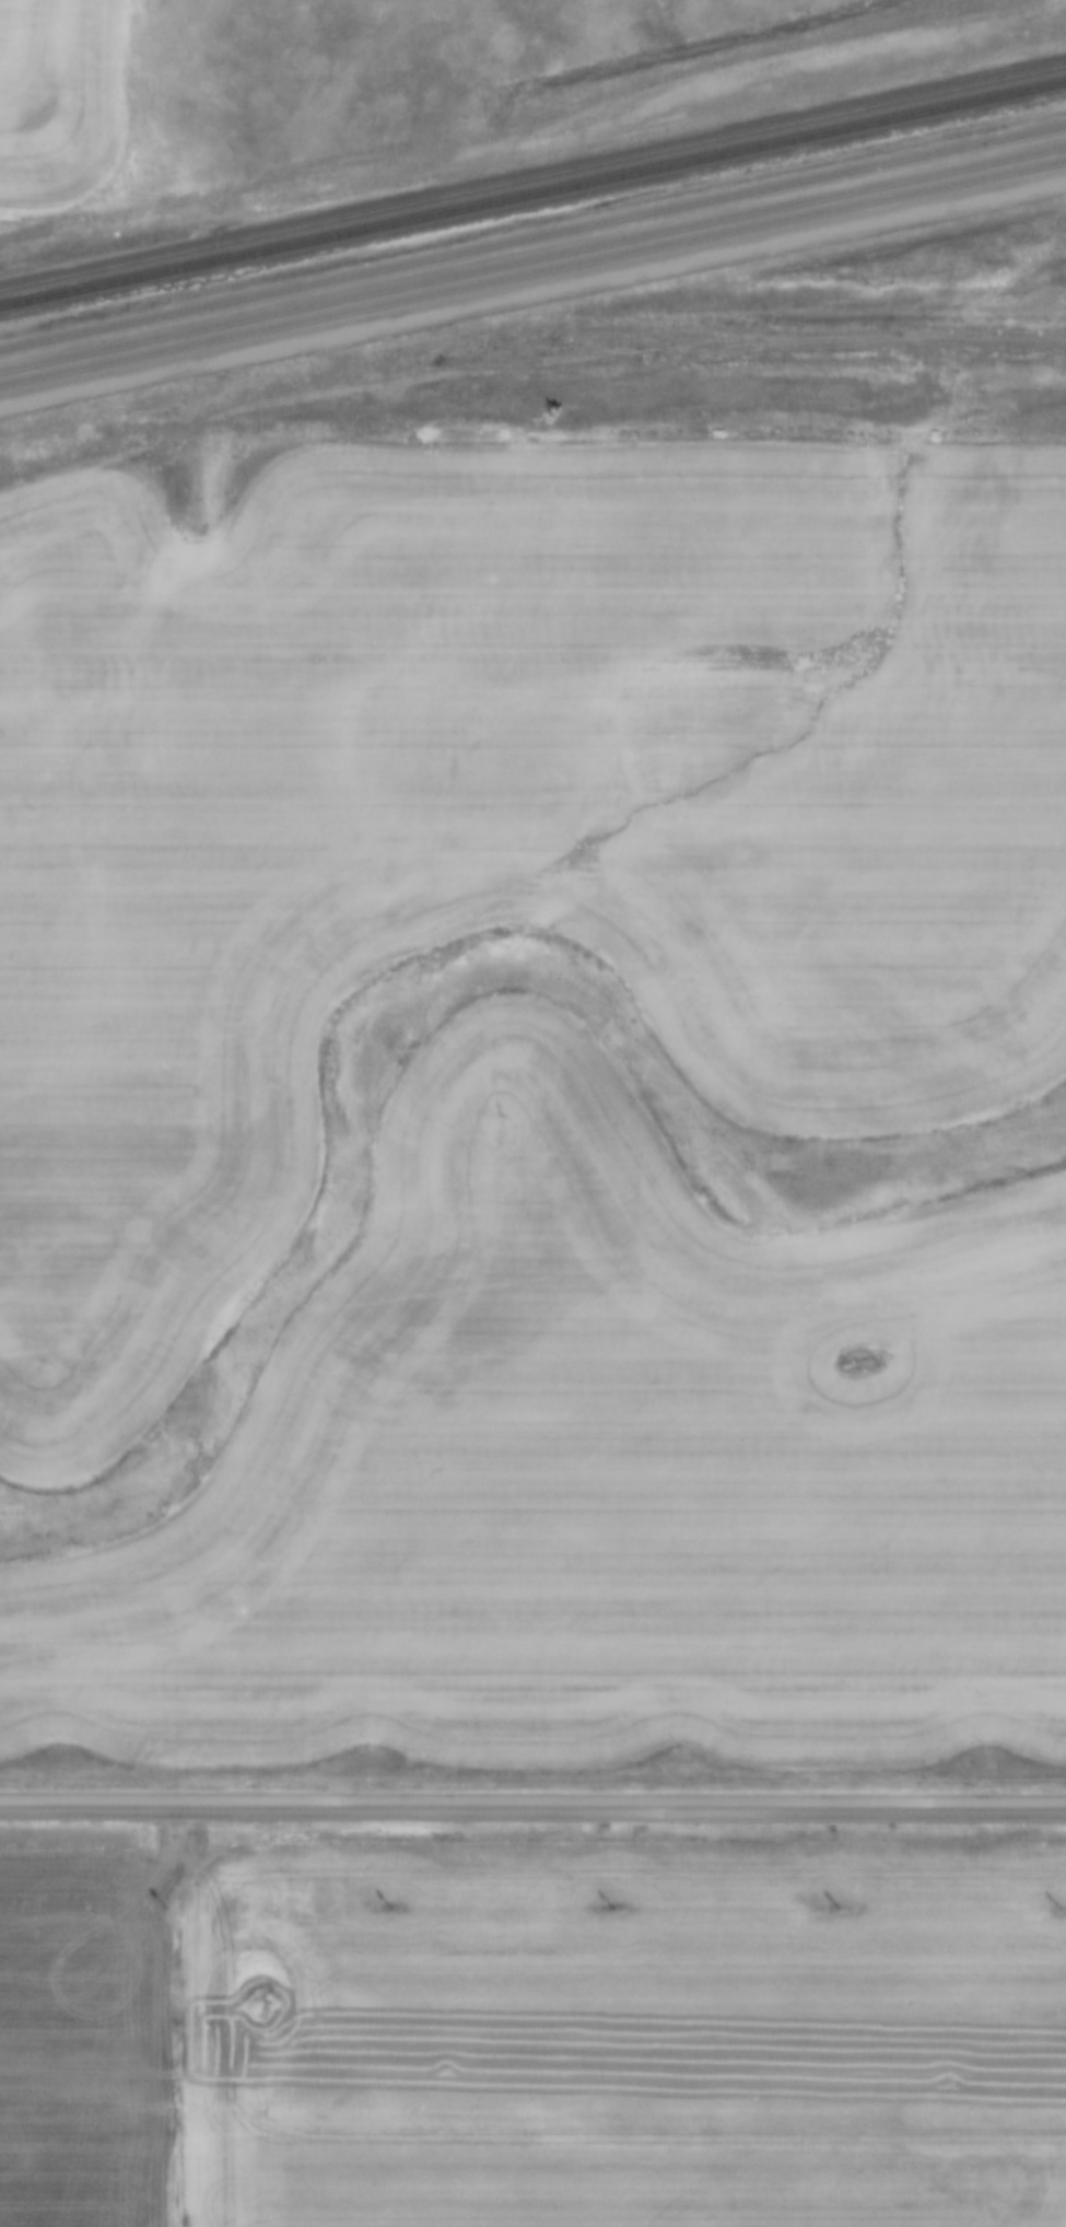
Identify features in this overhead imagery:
railway: (532, 175)
railway: (532, 191)
railway: (532, 235)
railway: (532, 254)
railway: (532, 272)
road: (532, 1807)

